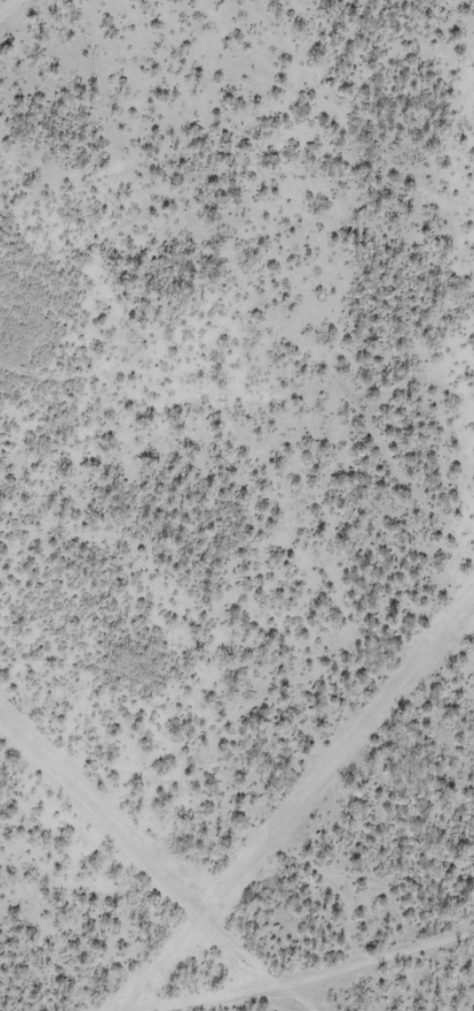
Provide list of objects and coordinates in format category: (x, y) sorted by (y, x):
road: (386, 987)

